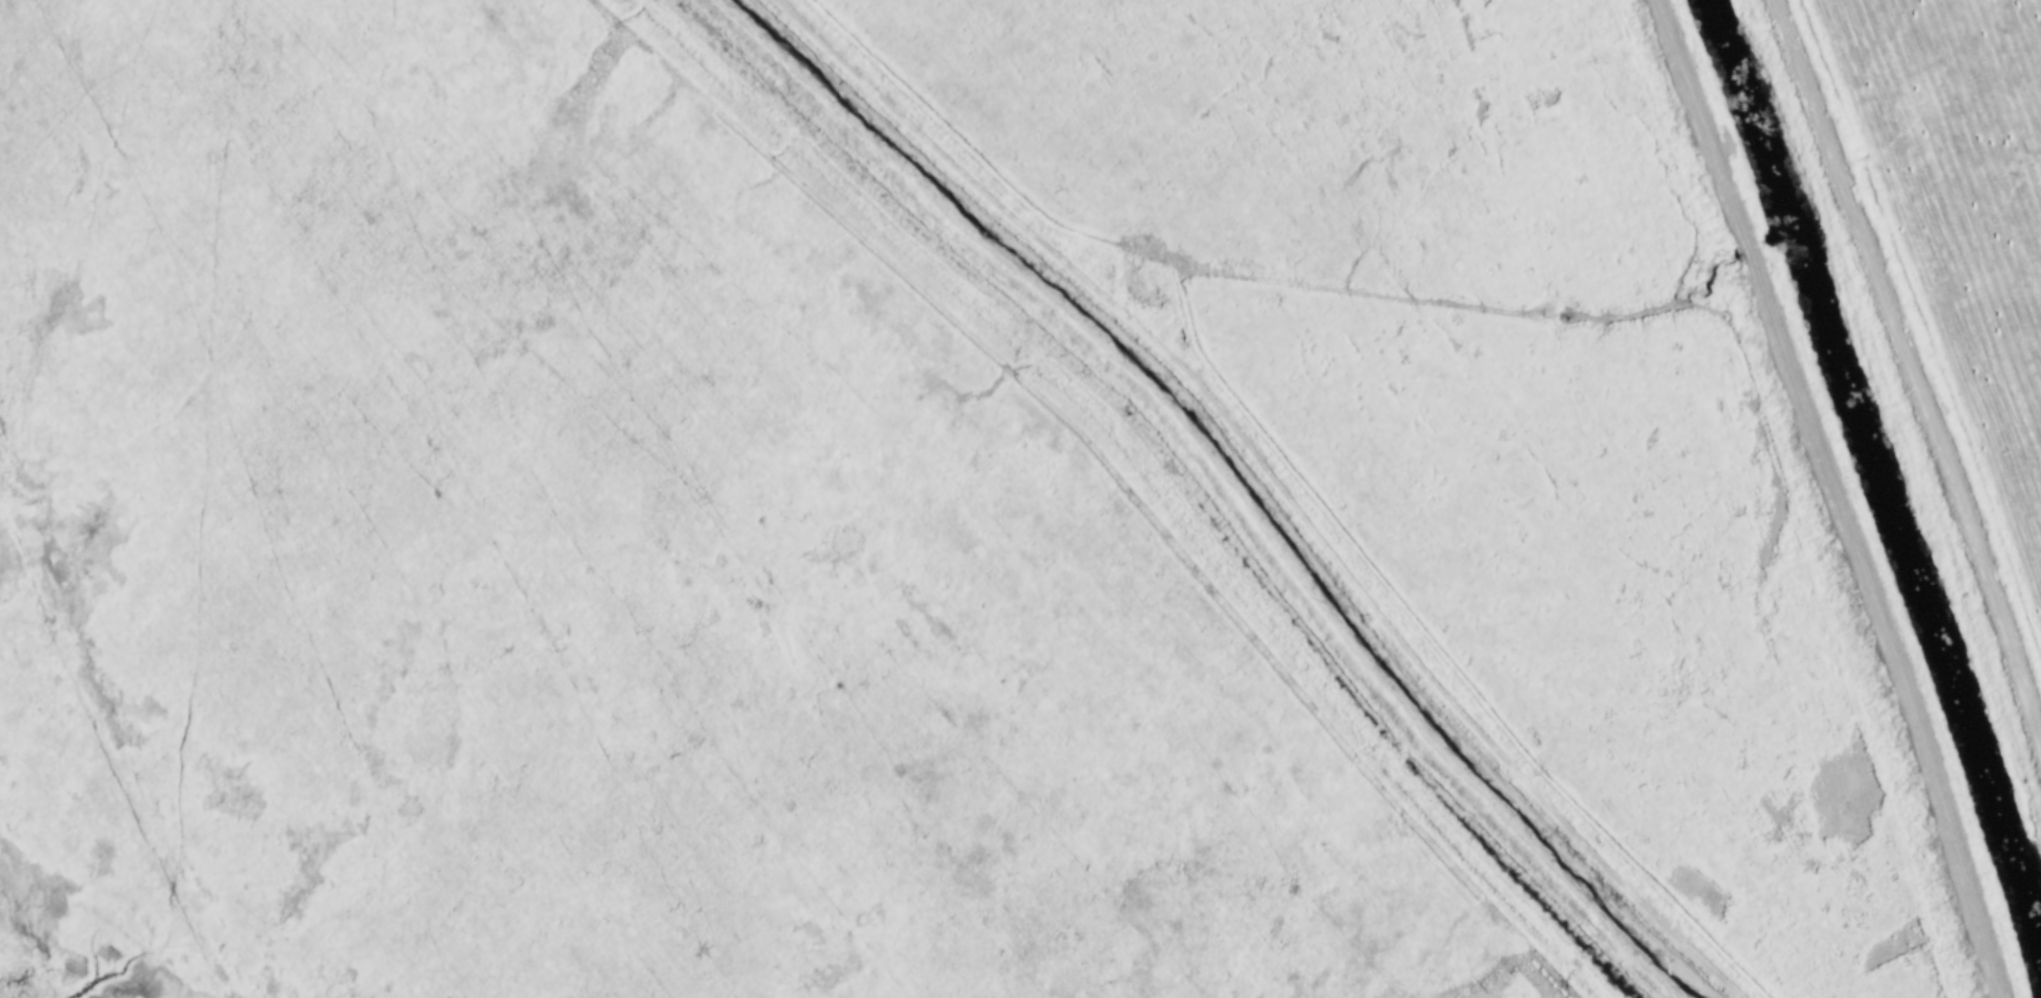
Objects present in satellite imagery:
road: (1843, 489)
river: (1866, 499)

